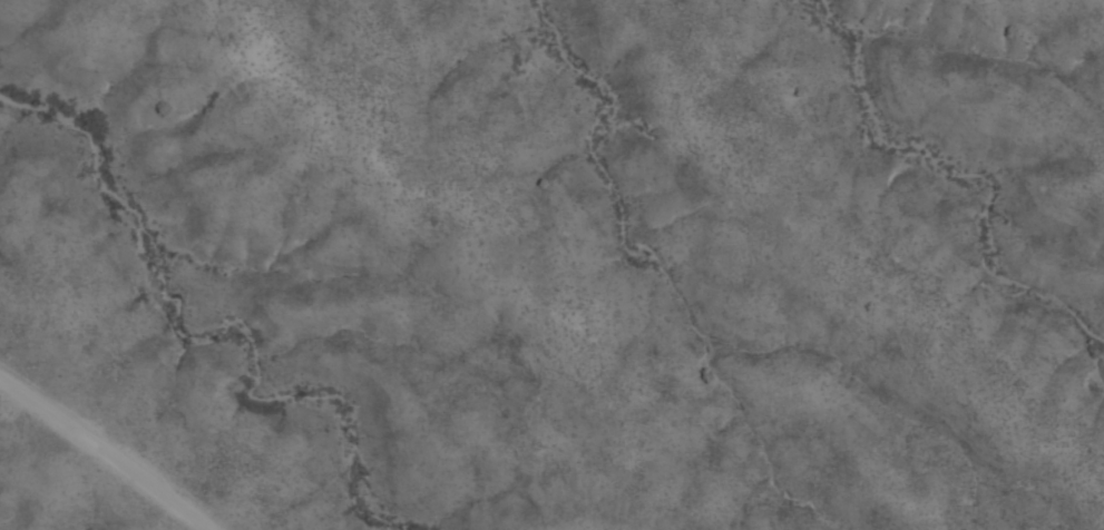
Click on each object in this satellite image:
road: (108, 451)

